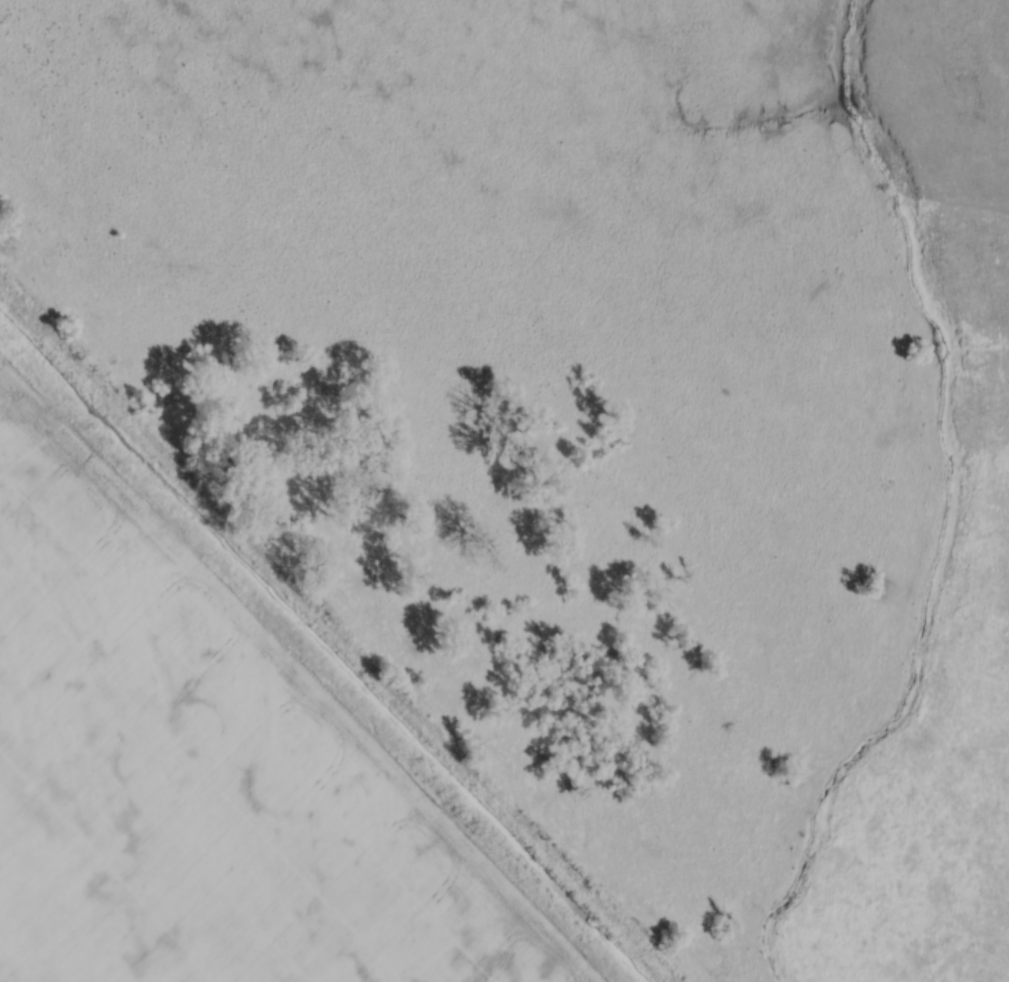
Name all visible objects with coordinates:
river: (949, 508)

